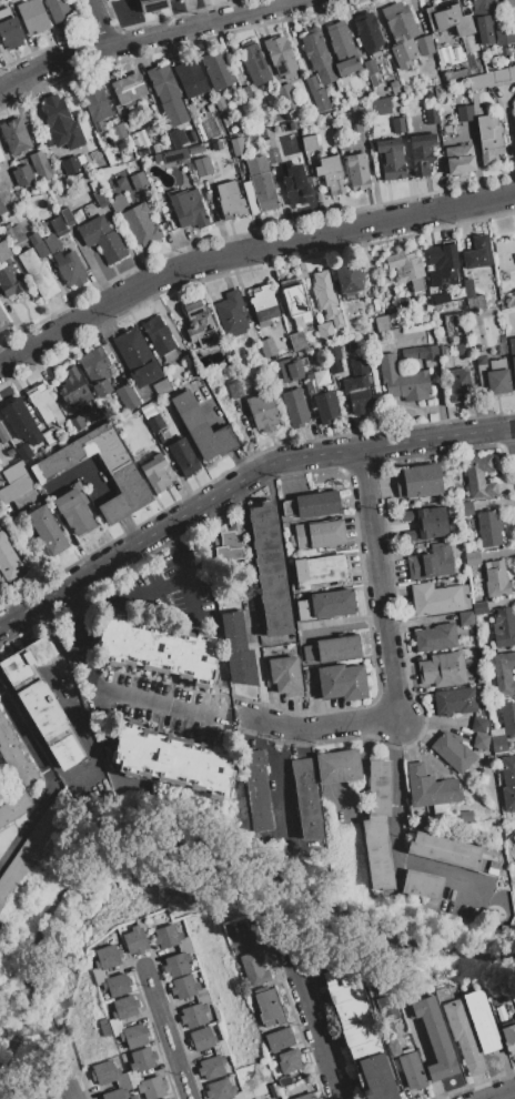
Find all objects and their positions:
building: (508, 3)
building: (152, 6)
building: (58, 9)
building: (32, 17)
building: (483, 19)
road: (100, 21)
building: (453, 24)
building: (9, 29)
building: (401, 32)
building: (367, 33)
building: (514, 33)
road: (142, 34)
building: (503, 36)
building: (423, 47)
building: (342, 49)
building: (0, 56)
building: (280, 56)
building: (317, 56)
building: (253, 63)
building: (368, 67)
building: (218, 69)
building: (456, 73)
building: (492, 77)
building: (190, 78)
building: (394, 87)
building: (128, 89)
building: (427, 93)
building: (168, 94)
building: (316, 94)
building: (246, 95)
building: (286, 97)
building: (94, 102)
building: (220, 105)
building: (378, 108)
building: (463, 112)
building: (275, 115)
building: (431, 115)
building: (360, 118)
building: (514, 120)
building: (61, 123)
building: (397, 124)
building: (99, 125)
building: (285, 125)
building: (375, 128)
building: (446, 129)
building: (118, 131)
building: (205, 134)
building: (16, 135)
building: (142, 135)
building: (176, 137)
building: (488, 138)
building: (44, 141)
building: (309, 142)
building: (236, 145)
building: (155, 148)
building: (195, 149)
building: (271, 150)
building: (421, 153)
building: (1, 155)
building: (171, 155)
building: (390, 158)
building: (458, 160)
building: (72, 164)
building: (40, 165)
building: (202, 167)
building: (356, 172)
building: (331, 174)
building: (22, 177)
building: (138, 180)
building: (261, 183)
building: (295, 184)
building: (97, 194)
building: (159, 199)
building: (230, 200)
building: (1, 206)
building: (188, 208)
building: (90, 210)
building: (75, 214)
building: (67, 216)
building: (137, 221)
building: (57, 225)
building: (13, 234)
building: (101, 239)
building: (51, 243)
building: (38, 245)
building: (4, 251)
road: (245, 251)
building: (477, 252)
building: (505, 254)
building: (442, 259)
building: (69, 268)
building: (406, 269)
building: (38, 273)
building: (347, 279)
building: (433, 279)
building: (9, 282)
building: (468, 288)
building: (325, 298)
building: (441, 299)
building: (264, 303)
building: (295, 303)
building: (475, 303)
building: (375, 305)
building: (436, 307)
building: (231, 314)
building: (2, 321)
building: (382, 323)
building: (453, 325)
building: (198, 329)
building: (324, 332)
building: (492, 339)
building: (161, 340)
building: (297, 341)
building: (266, 346)
building: (458, 349)
building: (443, 350)
building: (333, 352)
building: (417, 352)
building: (512, 355)
building: (137, 356)
building: (479, 361)
building: (188, 362)
building: (97, 370)
building: (290, 370)
building: (321, 377)
building: (497, 377)
building: (403, 380)
building: (310, 384)
building: (334, 384)
building: (458, 384)
building: (161, 386)
building: (357, 386)
building: (72, 387)
building: (235, 389)
building: (128, 396)
building: (44, 405)
building: (325, 406)
building: (294, 407)
building: (261, 411)
building: (20, 421)
building: (155, 422)
building: (75, 423)
building: (202, 427)
road: (514, 430)
building: (2, 435)
building: (49, 436)
building: (23, 451)
building: (9, 452)
building: (183, 456)
building: (0, 467)
building: (155, 473)
building: (479, 475)
building: (124, 476)
road: (241, 480)
building: (417, 480)
building: (16, 482)
building: (458, 498)
building: (312, 504)
building: (464, 508)
building: (73, 512)
building: (425, 522)
building: (471, 522)
building: (488, 527)
building: (47, 531)
building: (317, 535)
building: (229, 544)
building: (9, 562)
building: (431, 562)
building: (473, 563)
building: (270, 568)
building: (320, 569)
road: (180, 573)
building: (496, 579)
road: (158, 585)
building: (437, 598)
building: (325, 605)
building: (478, 608)
building: (465, 618)
building: (503, 627)
road: (47, 629)
road: (79, 635)
road: (285, 637)
building: (436, 637)
building: (236, 643)
building: (333, 648)
building: (158, 649)
road: (388, 656)
road: (257, 667)
building: (445, 669)
building: (504, 673)
building: (285, 675)
building: (341, 683)
building: (454, 700)
building: (41, 702)
road: (161, 702)
building: (507, 718)
road: (241, 719)
building: (478, 725)
building: (497, 739)
building: (481, 740)
building: (452, 752)
building: (14, 756)
building: (172, 758)
building: (339, 767)
road: (81, 773)
road: (49, 782)
building: (507, 783)
building: (430, 788)
building: (256, 792)
building: (305, 798)
building: (13, 807)
building: (465, 816)
building: (377, 827)
road: (395, 835)
building: (513, 837)
road: (285, 844)
building: (32, 845)
building: (451, 853)
building: (422, 884)
building: (135, 938)
building: (185, 951)
building: (253, 968)
building: (98, 971)
building: (179, 975)
building: (503, 995)
building: (493, 997)
building: (203, 1001)
building: (269, 1008)
building: (386, 1011)
road: (312, 1018)
building: (114, 1021)
building: (481, 1021)
building: (103, 1028)
building: (359, 1034)
road: (166, 1035)
building: (463, 1035)
building: (508, 1035)
building: (434, 1038)
building: (279, 1039)
building: (109, 1042)
building: (393, 1048)
building: (221, 1053)
building: (289, 1060)
building: (411, 1069)
building: (130, 1076)
building: (284, 1081)
building: (222, 1090)
road: (72, 1091)
road: (498, 1092)
building: (132, 1097)
building: (305, 1097)
building: (47, 1098)
building: (165, 1098)

